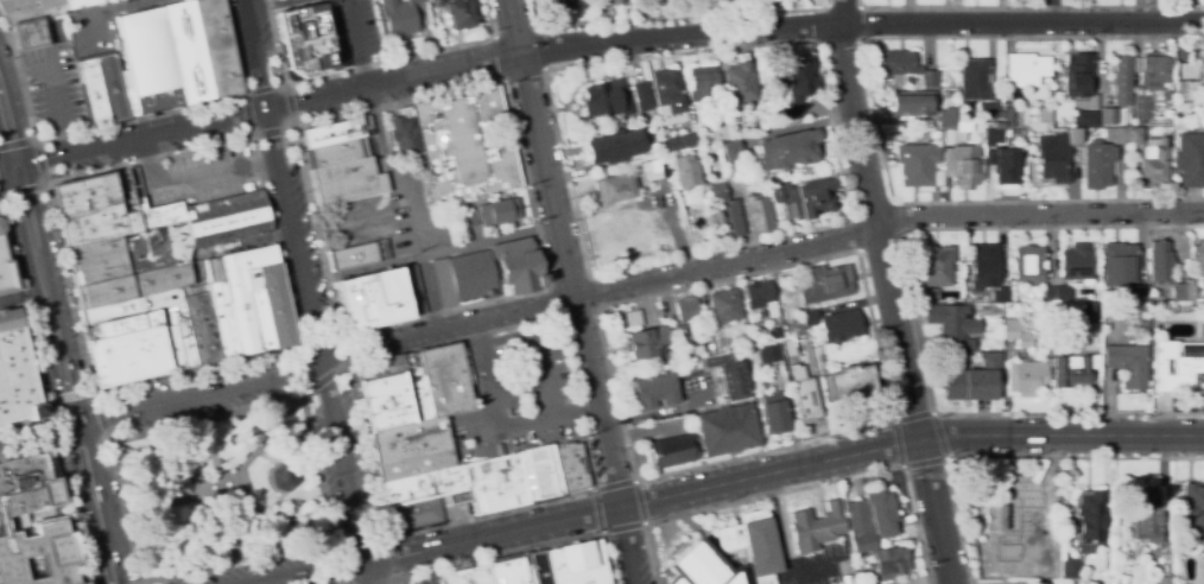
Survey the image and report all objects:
building: (273, 0)
building: (560, 1)
building: (603, 2)
building: (83, 4)
road: (131, 8)
building: (30, 9)
road: (1051, 9)
building: (458, 13)
building: (400, 18)
building: (210, 23)
building: (30, 34)
building: (303, 40)
road: (595, 45)
building: (186, 53)
building: (146, 61)
building: (902, 68)
building: (1025, 69)
building: (222, 70)
road: (49, 72)
building: (1153, 76)
building: (1073, 78)
building: (1122, 80)
building: (702, 84)
building: (737, 84)
building: (796, 85)
building: (976, 85)
building: (1191, 85)
building: (112, 88)
building: (93, 93)
building: (666, 95)
building: (642, 96)
building: (173, 99)
building: (606, 99)
building: (911, 103)
building: (1141, 109)
building: (1008, 114)
building: (1044, 115)
building: (1108, 116)
building: (945, 118)
building: (1084, 118)
building: (1190, 125)
building: (718, 127)
building: (994, 132)
building: (404, 133)
building: (956, 133)
building: (332, 134)
building: (939, 134)
building: (1115, 135)
building: (1072, 137)
building: (679, 141)
building: (614, 142)
building: (464, 146)
building: (787, 150)
building: (730, 151)
road: (380, 152)
building: (337, 153)
building: (1052, 158)
building: (1148, 159)
building: (1190, 159)
building: (1097, 164)
building: (918, 166)
building: (962, 166)
building: (1005, 167)
building: (655, 169)
building: (686, 171)
building: (342, 172)
building: (739, 186)
building: (614, 188)
building: (351, 190)
building: (85, 195)
building: (805, 197)
building: (499, 211)
road: (413, 212)
building: (725, 214)
building: (758, 214)
building: (226, 220)
building: (467, 221)
building: (97, 226)
road: (230, 245)
building: (95, 252)
building: (359, 254)
road: (433, 254)
building: (248, 259)
building: (1197, 260)
building: (1077, 262)
building: (1160, 262)
building: (518, 265)
building: (1028, 265)
building: (936, 266)
building: (982, 266)
building: (1116, 266)
building: (5, 267)
building: (99, 271)
building: (268, 278)
building: (471, 278)
building: (442, 284)
building: (825, 284)
building: (132, 285)
road: (636, 285)
building: (370, 286)
road: (306, 291)
road: (575, 291)
road: (888, 292)
building: (1181, 292)
building: (1056, 293)
building: (1000, 294)
building: (1140, 294)
building: (930, 296)
building: (760, 297)
building: (275, 304)
building: (1199, 304)
building: (724, 305)
building: (131, 306)
building: (258, 307)
building: (997, 307)
building: (686, 309)
building: (1145, 310)
building: (1090, 311)
building: (241, 312)
building: (376, 312)
building: (809, 317)
building: (632, 318)
building: (222, 319)
building: (121, 325)
building: (839, 326)
building: (951, 326)
building: (202, 328)
building: (793, 328)
building: (281, 331)
road: (334, 334)
building: (1016, 334)
building: (183, 335)
building: (1090, 336)
building: (682, 337)
building: (169, 338)
building: (744, 338)
road: (56, 339)
building: (1053, 341)
building: (721, 342)
building: (647, 343)
building: (788, 347)
building: (147, 353)
building: (768, 354)
building: (110, 361)
building: (1128, 363)
building: (1176, 364)
building: (391, 367)
road: (192, 369)
building: (1077, 369)
building: (366, 372)
building: (797, 372)
building: (17, 374)
building: (455, 377)
building: (1025, 377)
building: (975, 380)
building: (435, 382)
building: (734, 382)
building: (850, 383)
building: (381, 386)
building: (416, 387)
building: (658, 387)
parking lot: (531, 388)
road: (89, 399)
building: (805, 399)
building: (385, 402)
road: (1067, 413)
building: (775, 414)
building: (388, 419)
road: (545, 423)
building: (406, 432)
building: (728, 432)
road: (38, 434)
road: (271, 436)
building: (411, 450)
road: (762, 450)
road: (208, 451)
building: (671, 452)
road: (1009, 455)
road: (154, 464)
road: (904, 465)
building: (413, 466)
road: (302, 471)
building: (571, 471)
road: (281, 476)
building: (540, 476)
building: (281, 477)
road: (734, 482)
road: (197, 485)
building: (496, 485)
building: (24, 487)
road: (593, 487)
road: (800, 487)
building: (423, 488)
park: (223, 489)
road: (594, 491)
building: (1052, 491)
road: (65, 494)
fountain: (220, 495)
road: (165, 506)
building: (426, 513)
building: (1192, 513)
building: (883, 515)
building: (1147, 516)
road: (290, 518)
building: (399, 519)
building: (1089, 520)
building: (816, 527)
building: (858, 527)
road: (228, 534)
road: (373, 535)
building: (753, 544)
road: (172, 547)
road: (520, 550)
building: (38, 556)
building: (1022, 560)
building: (577, 564)
building: (887, 564)
building: (1070, 566)
building: (702, 567)
building: (539, 569)
building: (507, 572)
building: (464, 577)
building: (1160, 579)
building: (1075, 582)
road: (141, 583)
building: (1039, 583)

